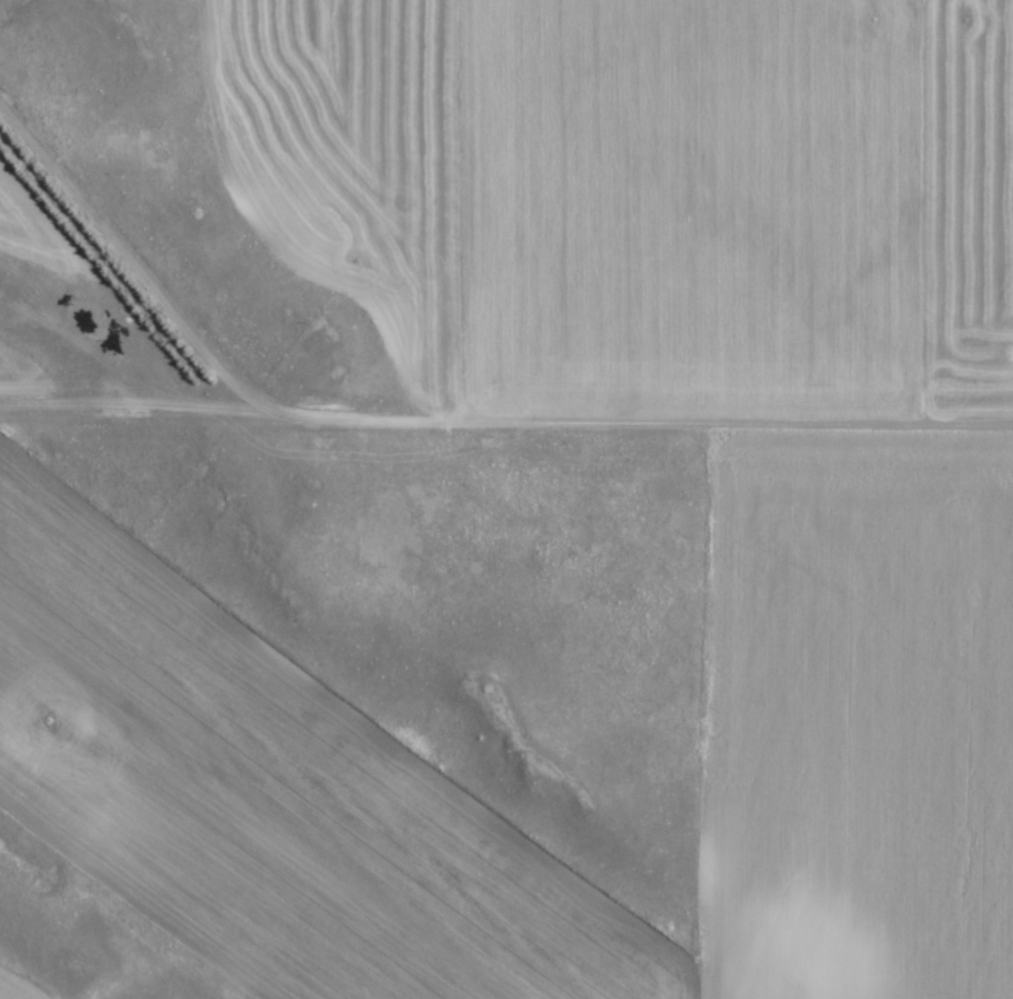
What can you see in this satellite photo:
road: (436, 421)

